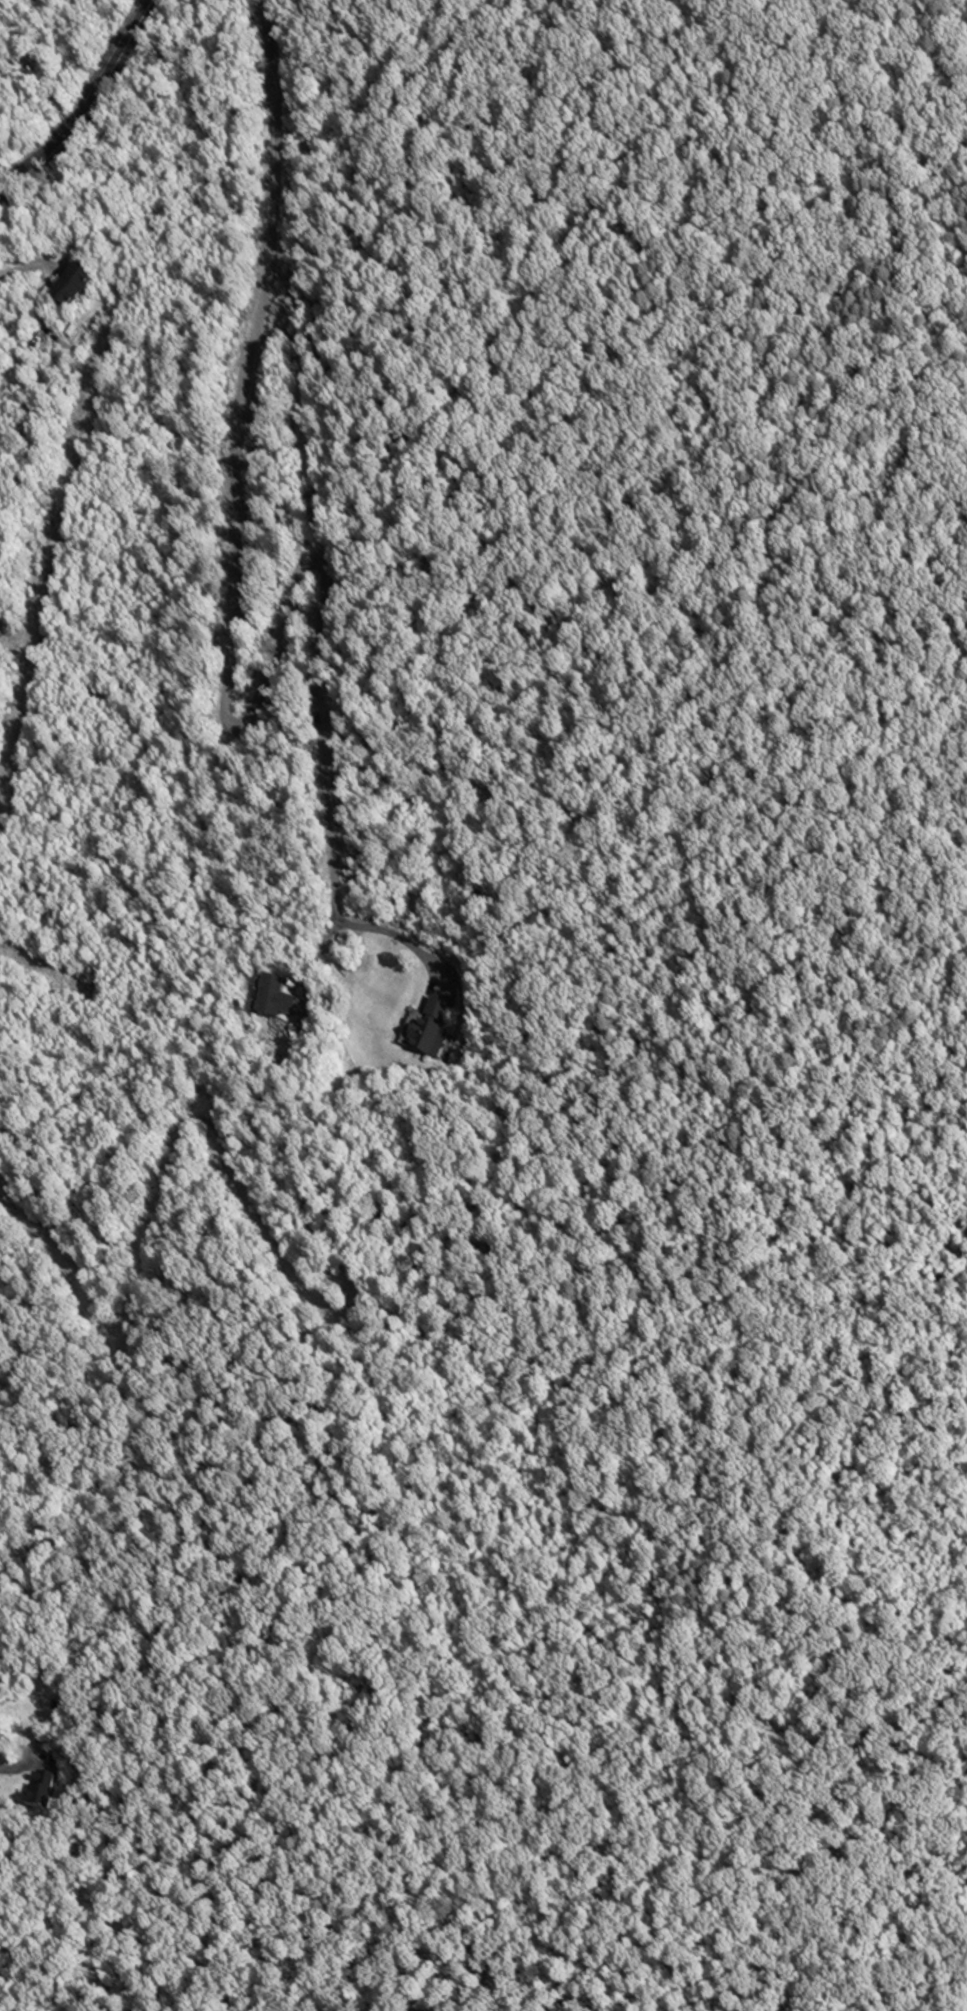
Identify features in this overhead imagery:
road: (89, 107)
road: (238, 635)
road: (400, 936)
building: (278, 1000)
building: (433, 1029)
road: (15, 1767)

